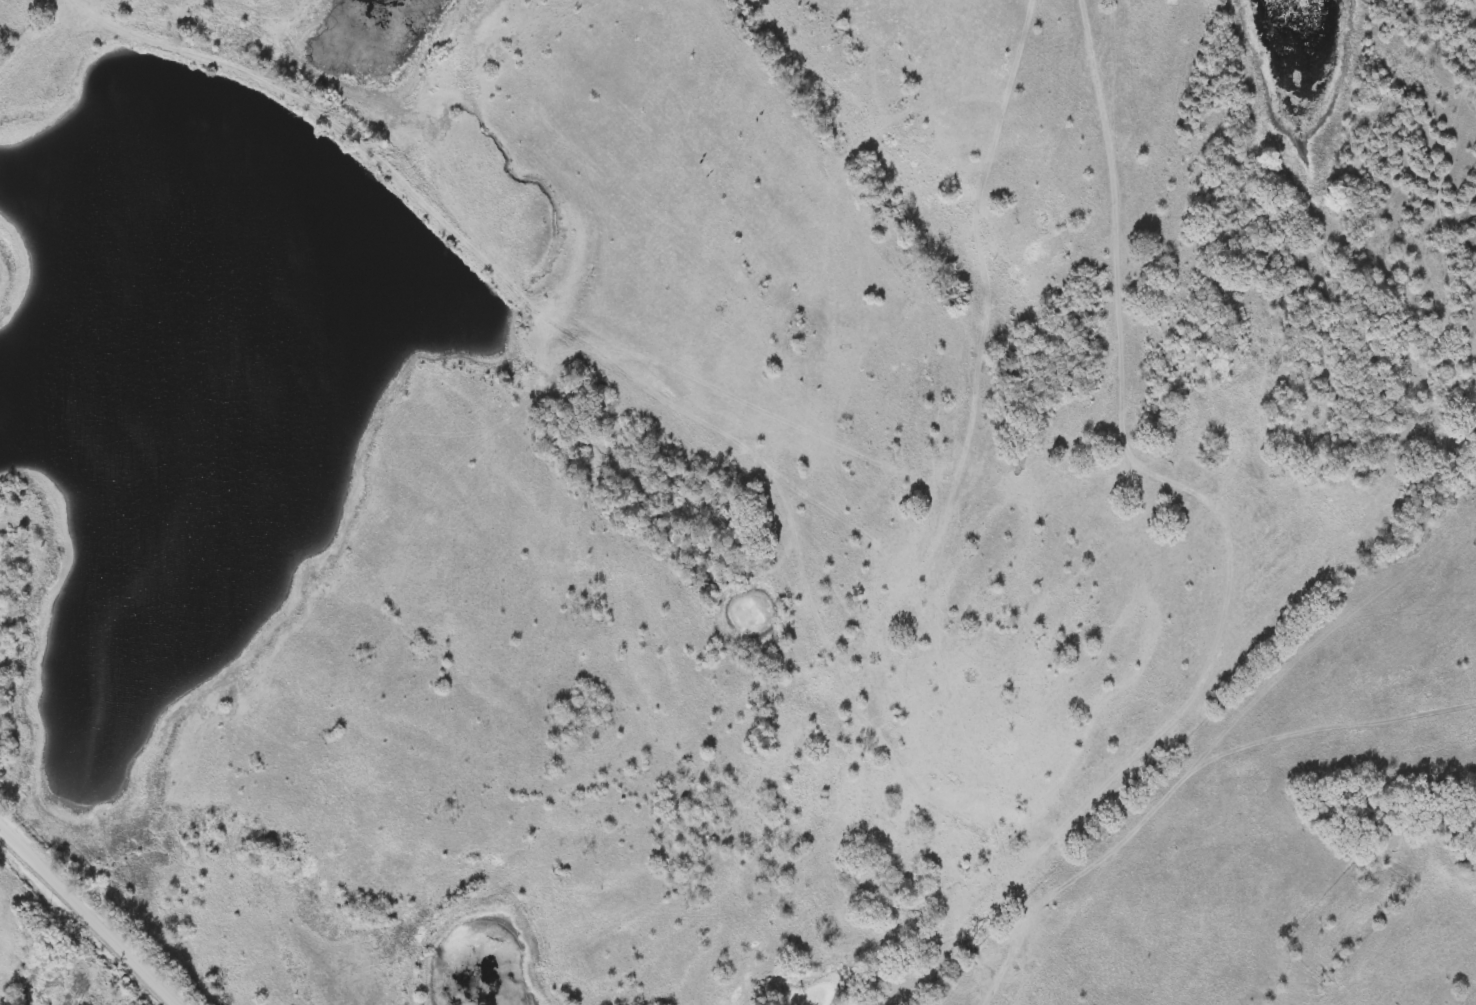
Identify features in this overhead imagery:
road: (90, 914)

